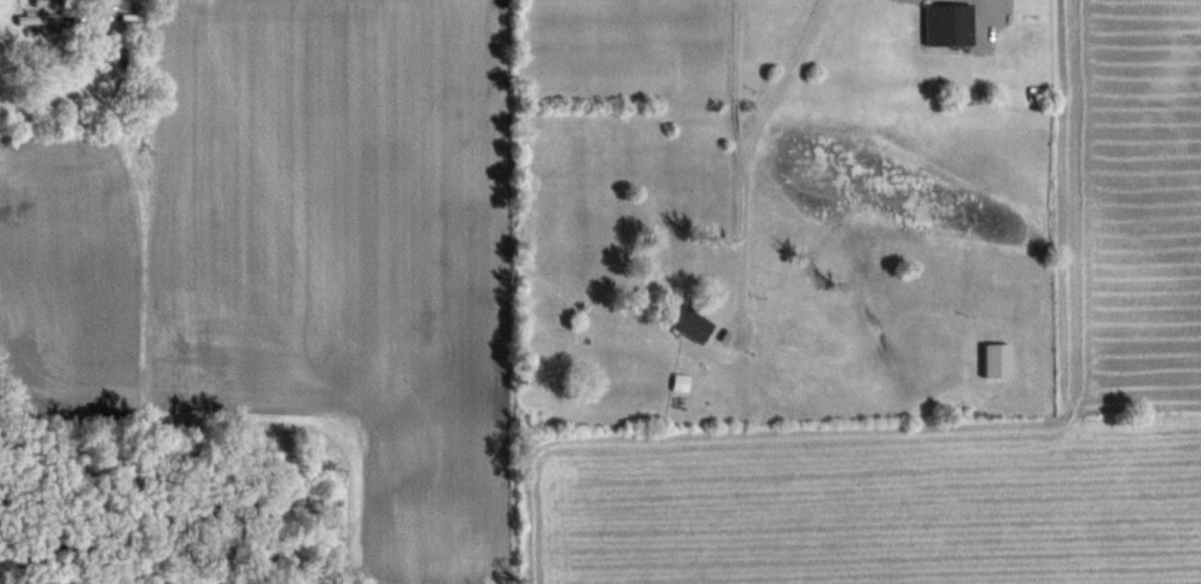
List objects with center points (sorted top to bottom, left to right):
building: (944, 24)
building: (683, 321)
building: (991, 358)

